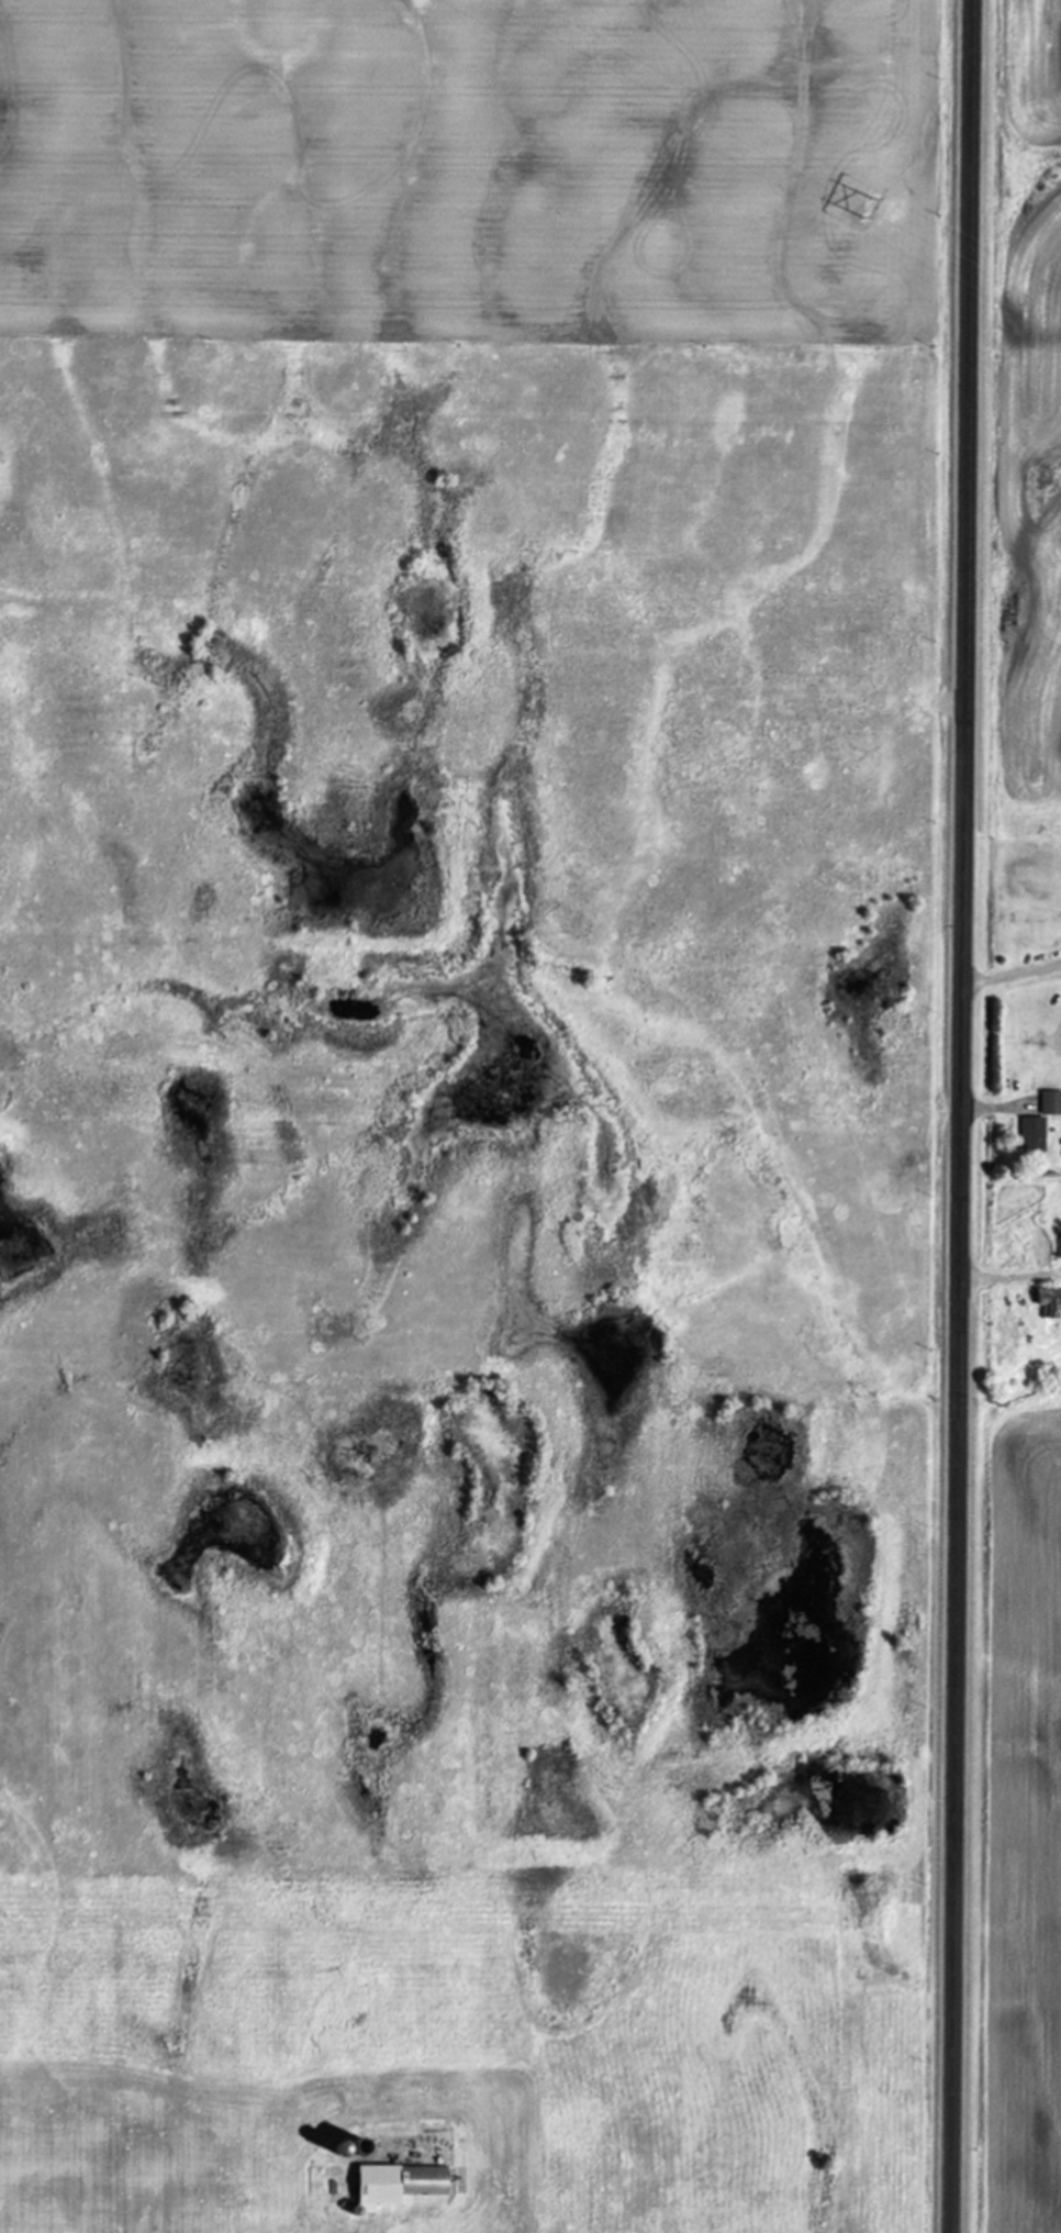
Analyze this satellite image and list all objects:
power tower: (865, 208)
road: (1012, 975)
building: (1051, 1102)
road: (992, 1107)
road: (960, 1115)
building: (1034, 1133)
building: (400, 2184)

